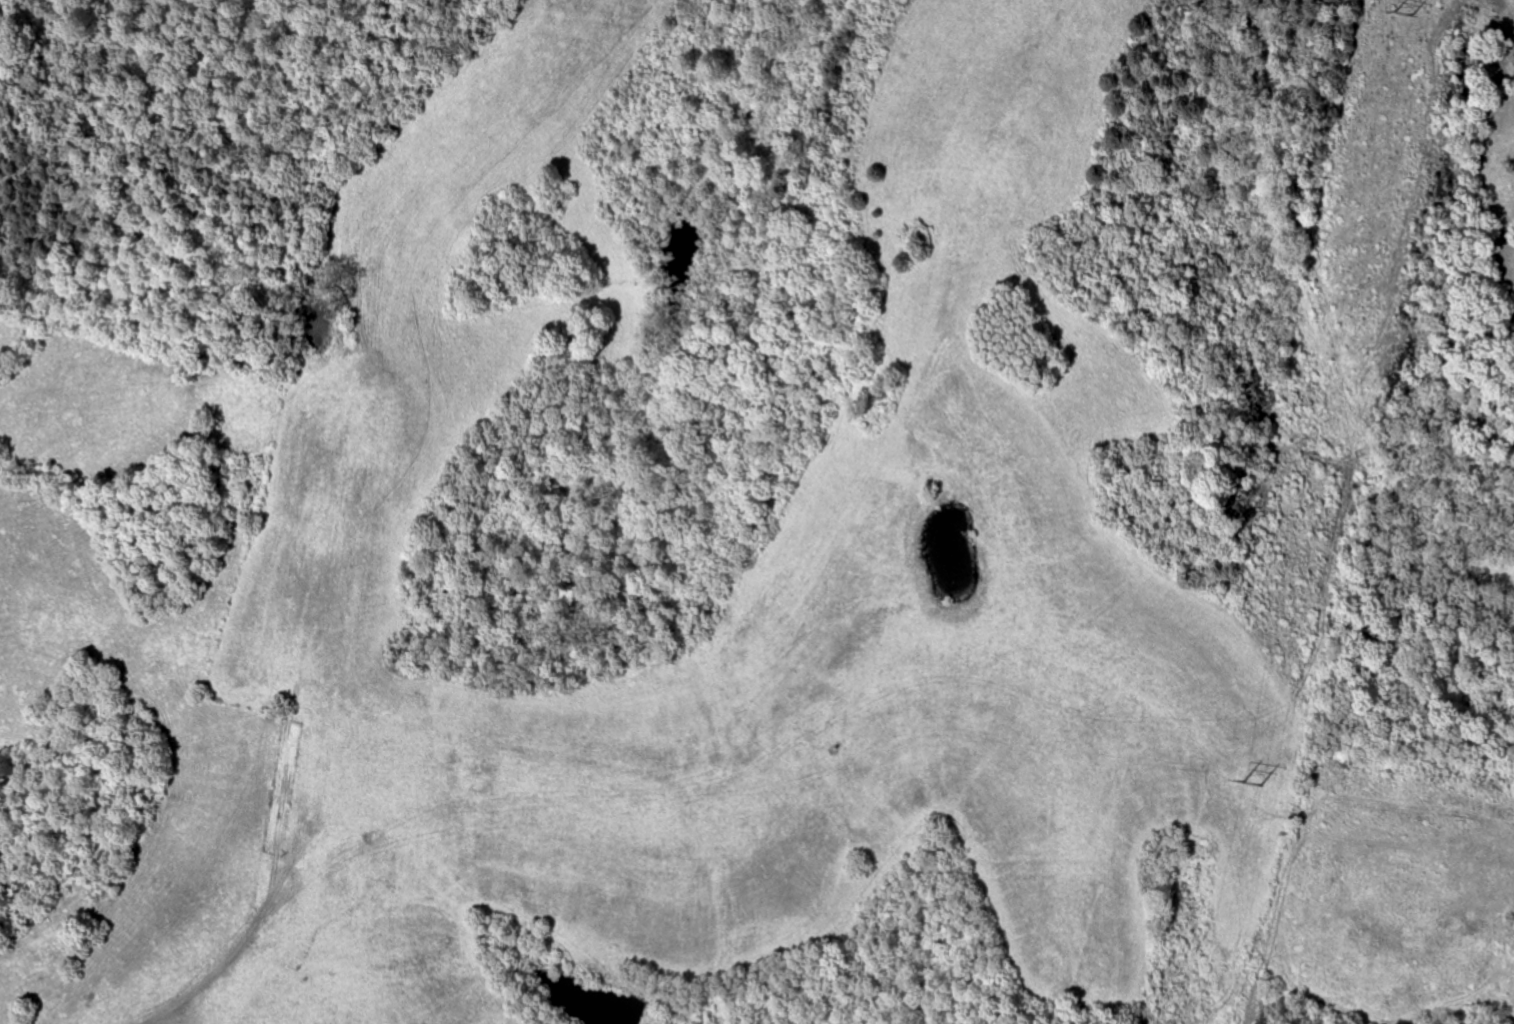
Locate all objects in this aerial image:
power tower: (1403, 12)
power tower: (1253, 783)
road: (216, 969)

